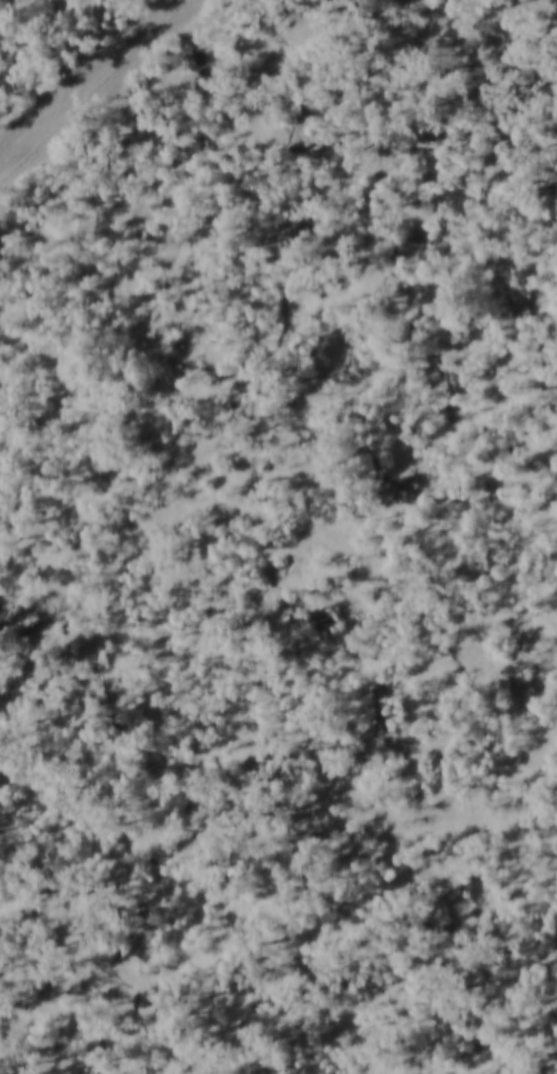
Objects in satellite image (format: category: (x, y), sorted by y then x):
road: (86, 93)

